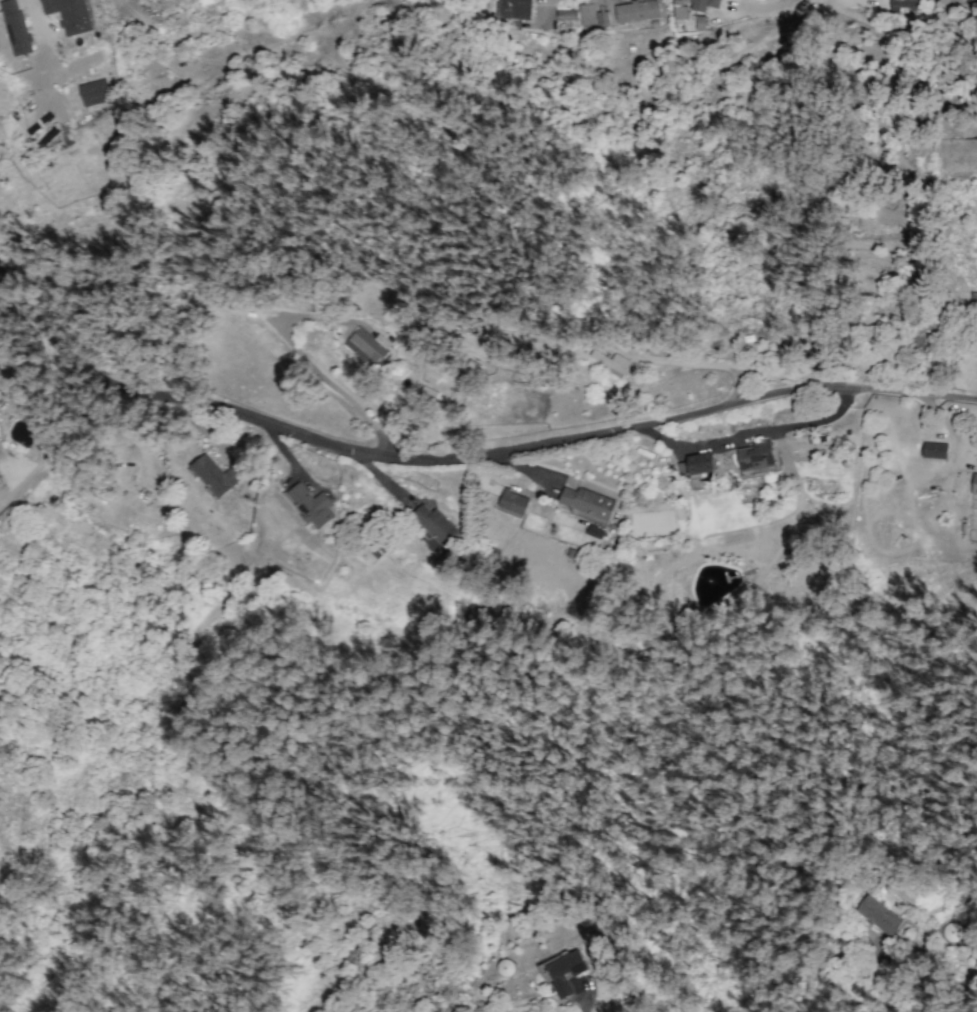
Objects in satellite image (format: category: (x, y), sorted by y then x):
building: (703, 4)
road: (761, 5)
building: (902, 6)
building: (679, 9)
building: (636, 11)
building: (513, 12)
building: (69, 14)
building: (566, 14)
building: (602, 17)
building: (587, 18)
building: (176, 19)
building: (699, 22)
building: (15, 27)
building: (94, 92)
building: (368, 345)
building: (611, 362)
road: (313, 366)
building: (934, 450)
building: (756, 457)
road: (461, 464)
building: (696, 464)
building: (216, 475)
building: (974, 484)
building: (513, 501)
building: (586, 502)
building: (310, 505)
building: (437, 526)
building: (878, 915)
building: (952, 932)
building: (596, 953)
building: (504, 967)
building: (565, 972)

